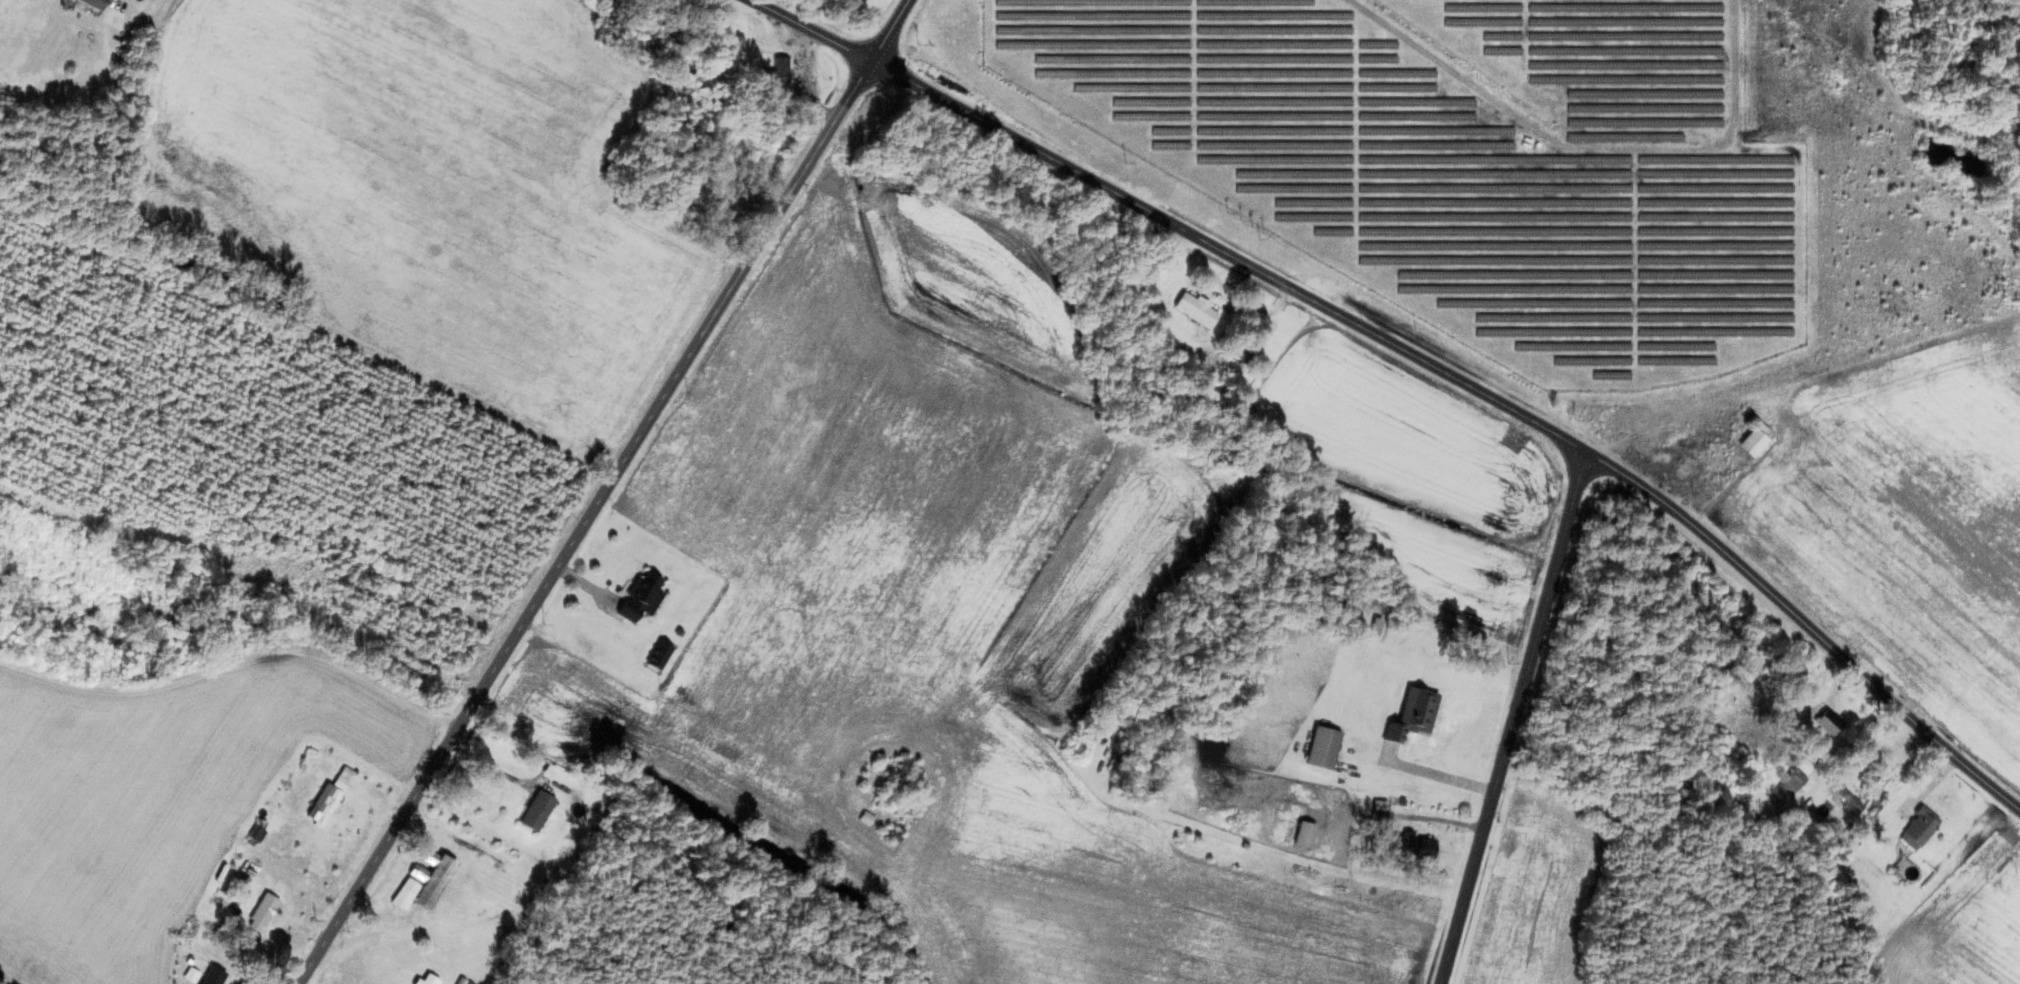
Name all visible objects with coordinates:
building: (0, 2)
building: (98, 3)
building: (783, 70)
solar farm: (1467, 161)
building: (707, 194)
road: (1173, 222)
building: (1200, 310)
building: (1761, 438)
road: (603, 492)
building: (645, 596)
road: (1807, 617)
building: (663, 653)
building: (1416, 710)
road: (1513, 718)
building: (1833, 721)
building: (1775, 728)
building: (1327, 746)
building: (1796, 781)
building: (1852, 796)
building: (541, 809)
building: (1924, 828)
building: (1310, 832)
building: (1418, 846)
building: (436, 880)
building: (268, 909)
building: (430, 978)

